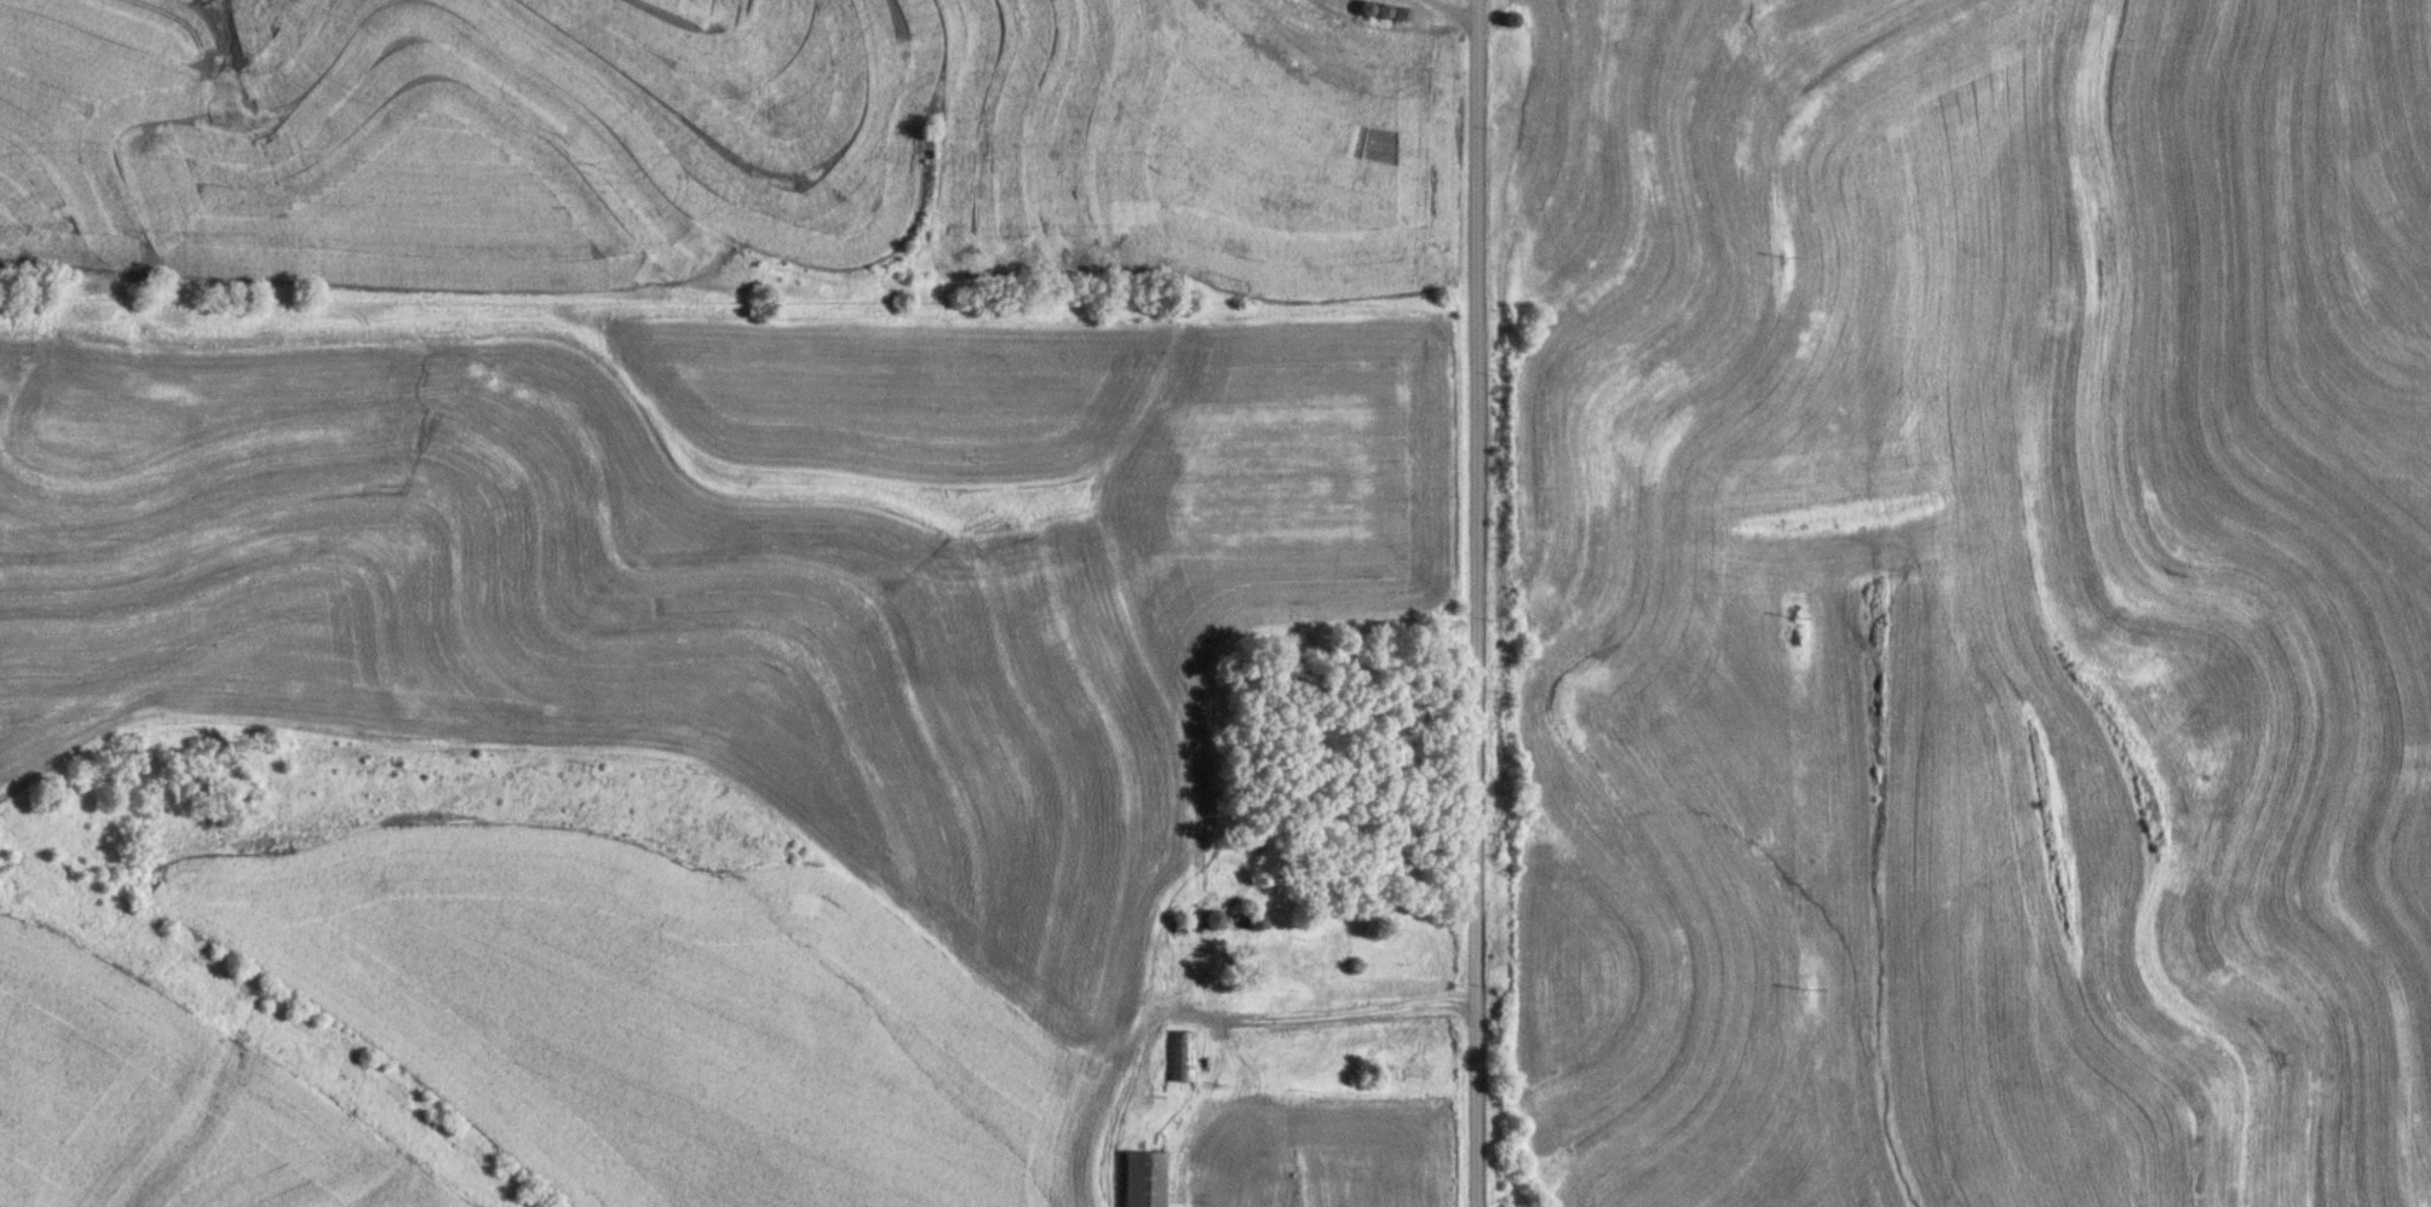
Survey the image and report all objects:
road: (1488, 603)
building: (1180, 1053)
building: (1146, 1178)

